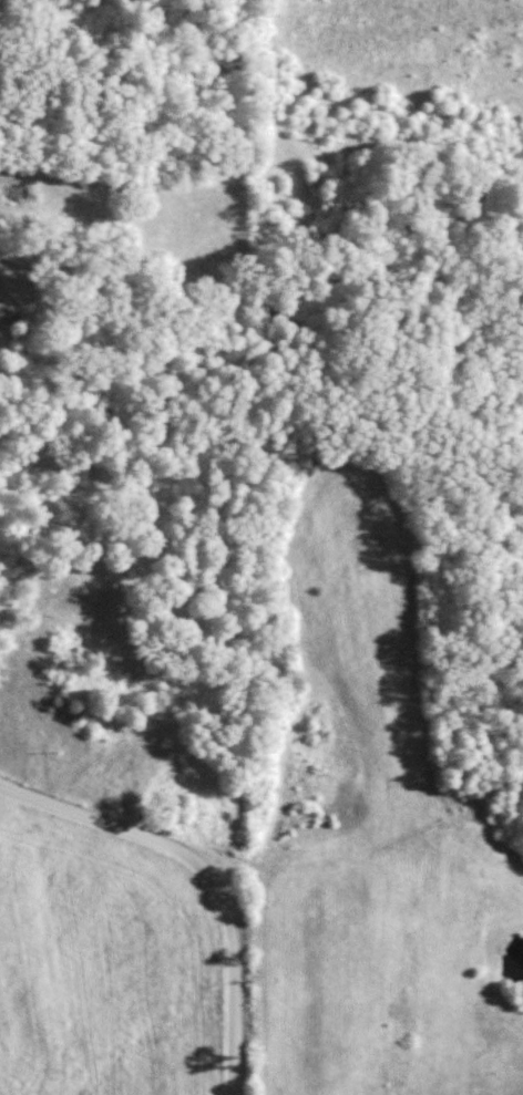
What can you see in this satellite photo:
building: (59, 679)
building: (201, 827)
road: (192, 906)

